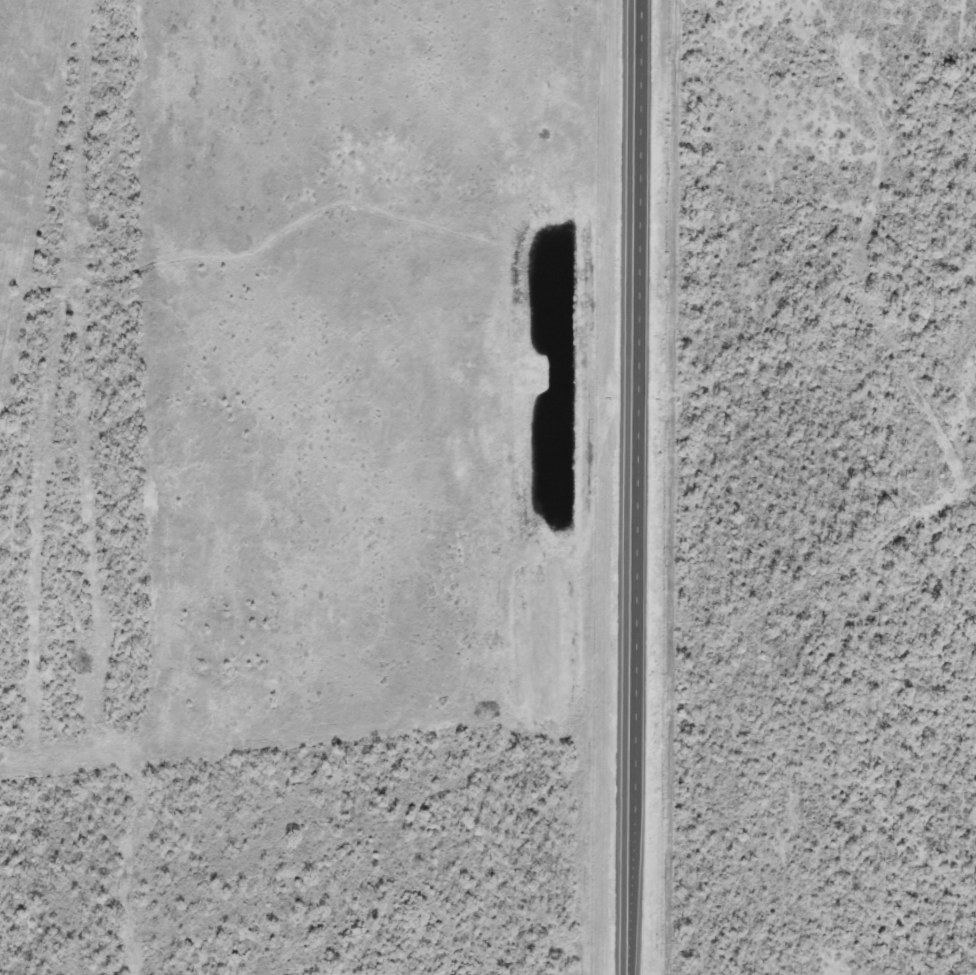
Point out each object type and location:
road: (638, 487)

